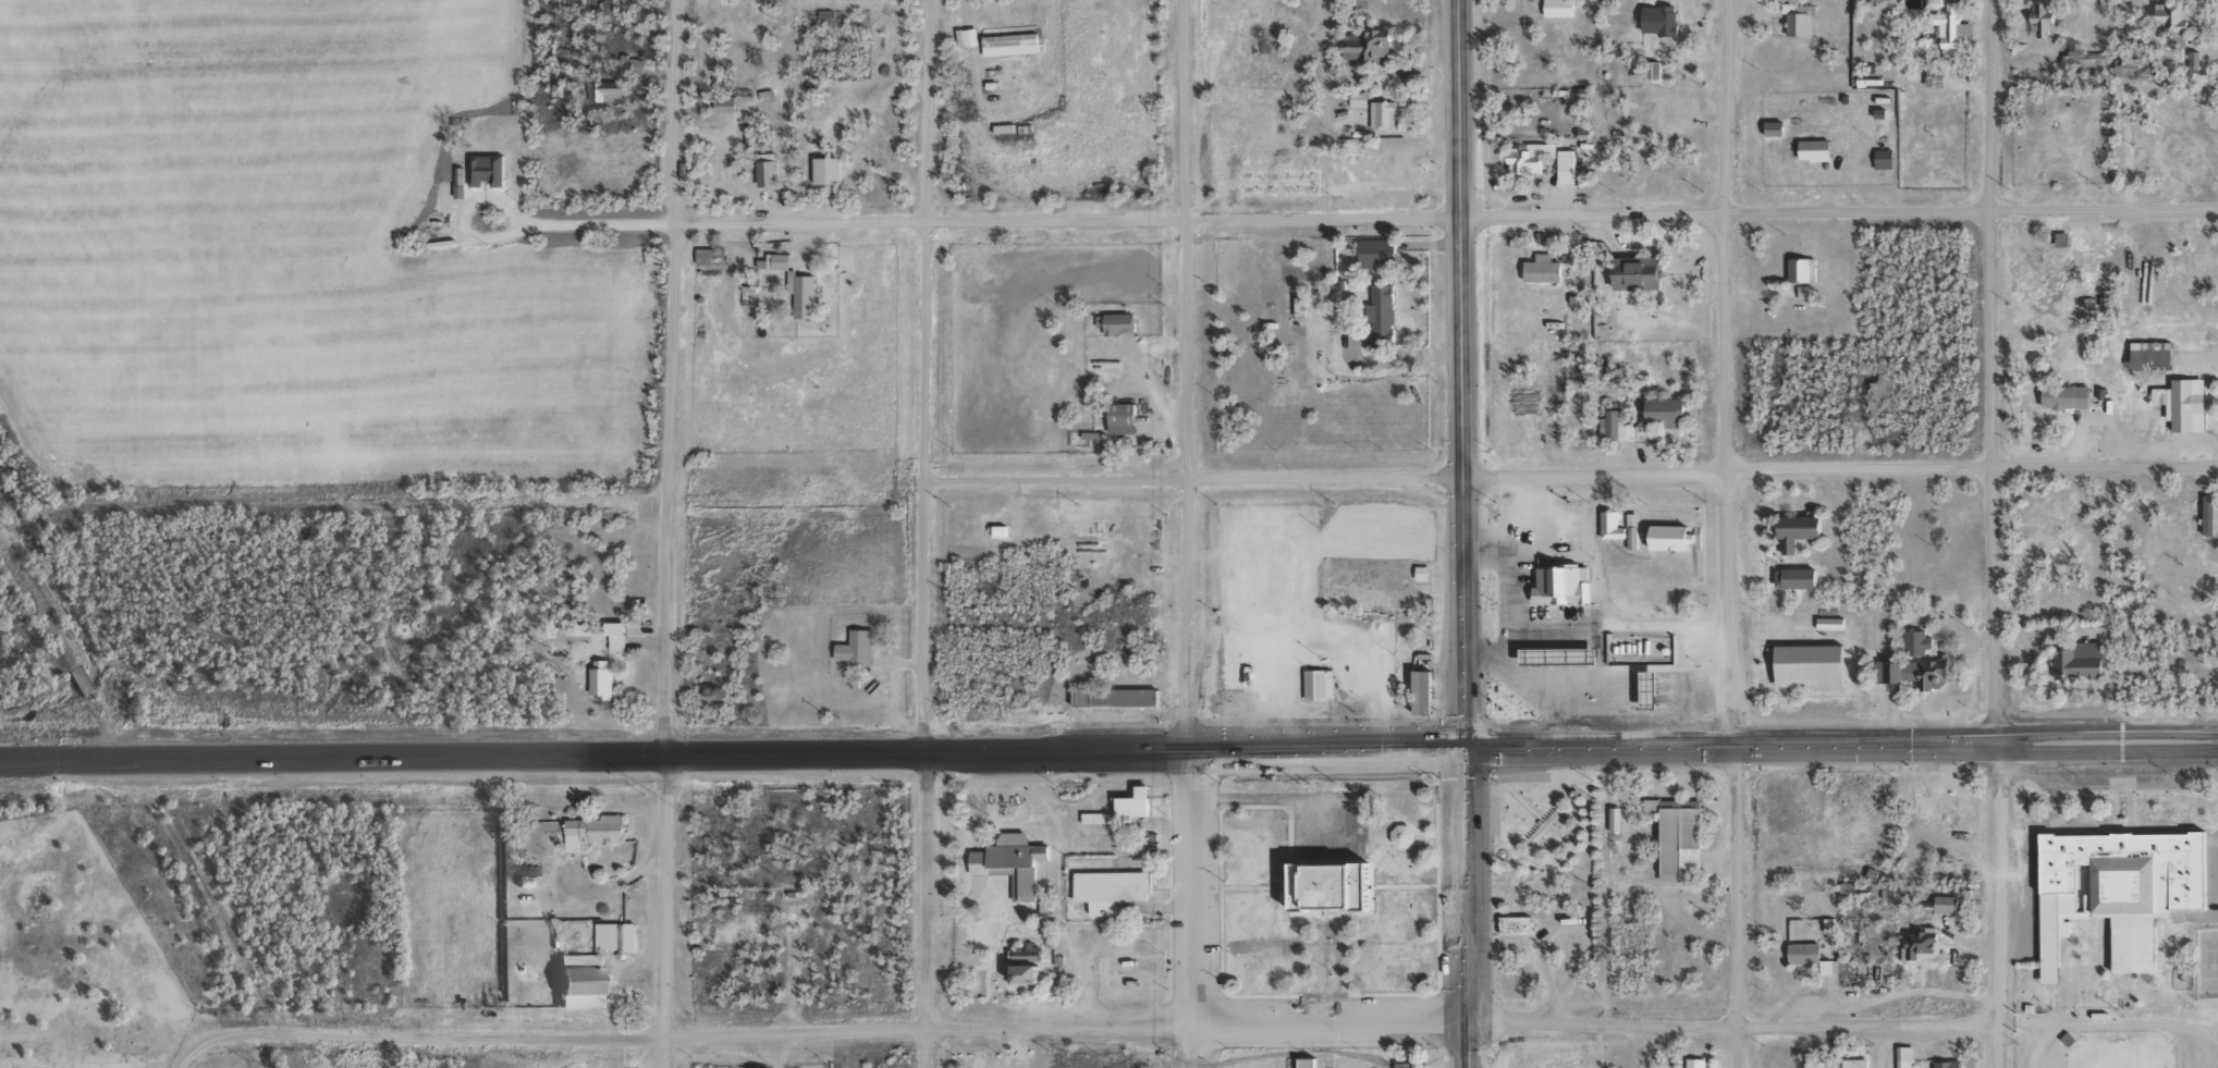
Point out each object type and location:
building: (1565, 7)
building: (2047, 14)
building: (1803, 15)
building: (1668, 17)
building: (2037, 17)
building: (2184, 22)
building: (1956, 24)
building: (971, 35)
building: (1015, 39)
building: (1374, 41)
building: (2198, 57)
building: (2135, 61)
building: (629, 65)
building: (1658, 69)
building: (1647, 71)
building: (610, 86)
building: (1363, 96)
building: (730, 100)
building: (719, 101)
building: (1387, 112)
building: (1674, 112)
building: (1818, 145)
building: (2178, 150)
building: (1535, 152)
building: (2054, 157)
building: (1571, 164)
building: (1560, 165)
building: (771, 167)
building: (1384, 167)
building: (832, 168)
building: (491, 169)
road: (1838, 212)
road: (1065, 220)
road: (604, 222)
building: (1383, 248)
road: (671, 254)
building: (711, 254)
building: (777, 254)
building: (2048, 259)
building: (1547, 267)
building: (1644, 269)
building: (1809, 274)
building: (809, 291)
building: (797, 296)
building: (1388, 312)
building: (1114, 324)
building: (2157, 351)
road: (1986, 372)
road: (1720, 373)
road: (1184, 375)
road: (1457, 375)
road: (918, 376)
building: (2069, 392)
building: (1889, 394)
building: (2188, 398)
building: (1671, 410)
building: (1128, 416)
building: (1621, 425)
road: (1837, 472)
road: (1187, 476)
building: (2211, 508)
building: (2060, 516)
building: (2204, 516)
building: (1616, 524)
building: (1606, 527)
building: (1802, 527)
building: (1004, 528)
building: (2046, 528)
building: (1934, 530)
building: (1676, 532)
building: (2191, 572)
building: (1802, 575)
building: (2182, 577)
building: (1563, 581)
building: (621, 631)
road: (662, 631)
building: (610, 637)
building: (1563, 652)
gas station: (1563, 652)
building: (863, 653)
building: (2083, 658)
building: (1925, 660)
building: (1818, 662)
building: (606, 679)
building: (1323, 683)
building: (1652, 684)
building: (1686, 686)
building: (1431, 687)
building: (1120, 693)
building: (1417, 693)
building: (1614, 698)
road: (1840, 747)
road: (731, 754)
building: (1140, 798)
building: (1953, 800)
building: (1128, 805)
building: (1100, 815)
railway: (146, 819)
building: (602, 827)
building: (1943, 832)
park: (1544, 836)
building: (1686, 837)
building: (1016, 863)
building: (2125, 875)
building: (1339, 877)
building: (1854, 885)
building: (1117, 888)
building: (1901, 889)
building: (1953, 901)
building: (1941, 905)
road: (1994, 906)
road: (1730, 907)
road: (1189, 908)
road: (1465, 908)
road: (927, 910)
road: (660, 911)
building: (1522, 921)
building: (1834, 921)
building: (620, 935)
building: (1927, 936)
building: (1800, 955)
park: (2206, 961)
building: (1030, 965)
building: (589, 981)
road: (1730, 1027)
road: (829, 1031)
park: (2118, 1055)
building: (1910, 1056)
road: (191, 1058)
building: (1312, 1061)
building: (1701, 1061)
building: (1862, 1061)
building: (1302, 1063)
building: (1690, 1063)
building: (1951, 1063)
building: (1412, 1064)
building: (1848, 1064)
building: (879, 1066)

